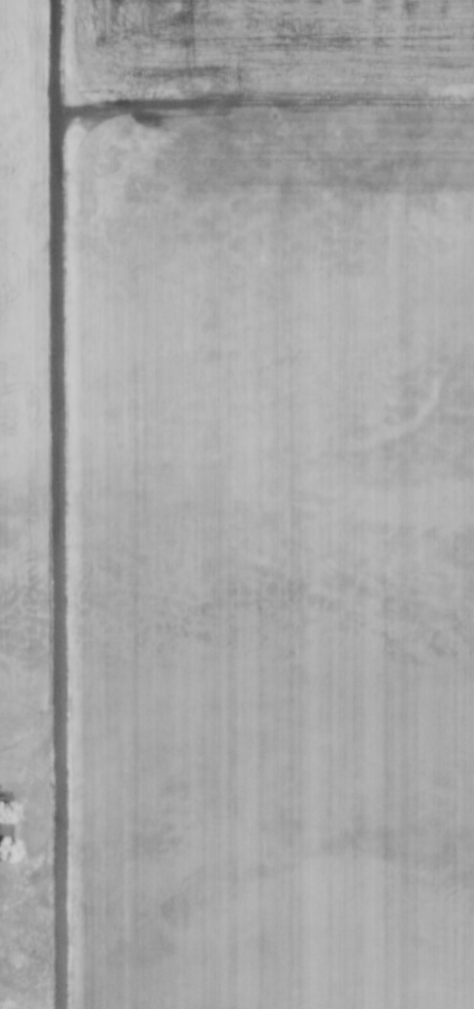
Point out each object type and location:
road: (267, 104)
road: (60, 504)
building: (7, 827)

